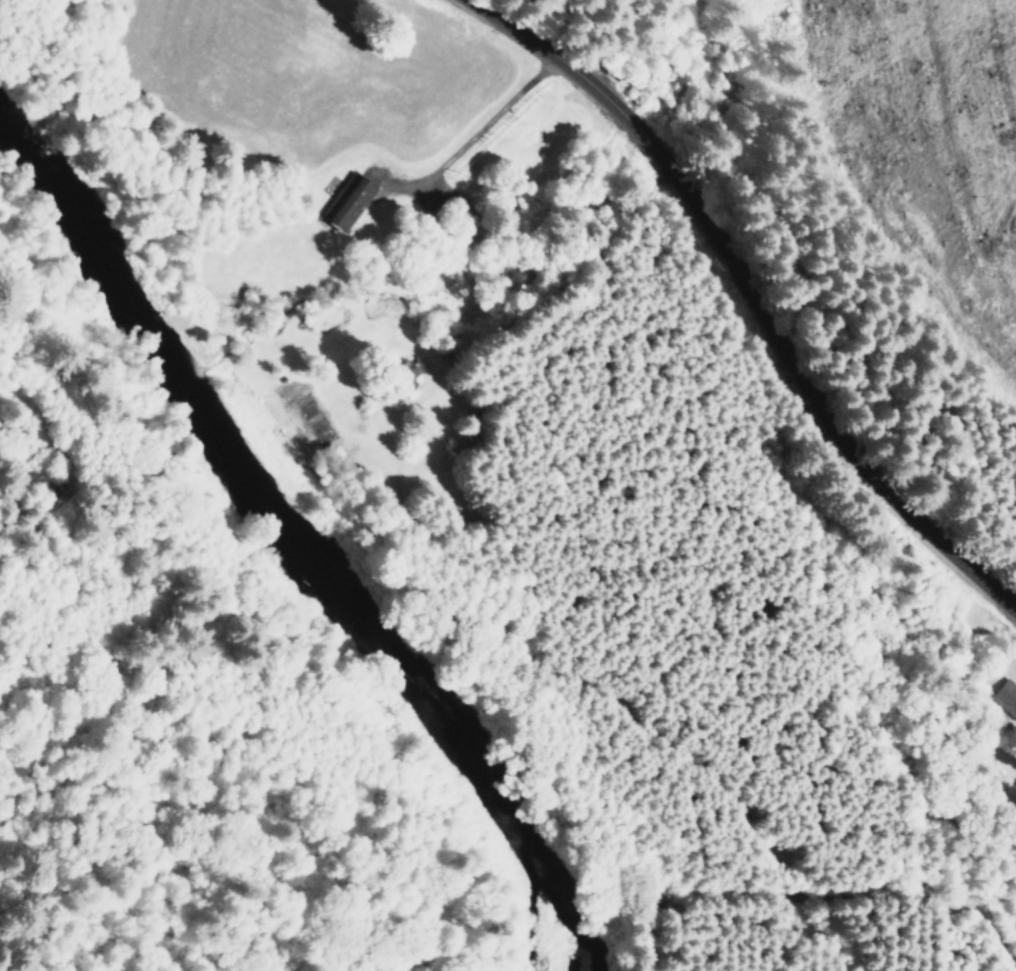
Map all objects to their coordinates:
building: (346, 201)
road: (741, 303)
road: (579, 400)
river: (292, 540)
building: (1005, 697)

